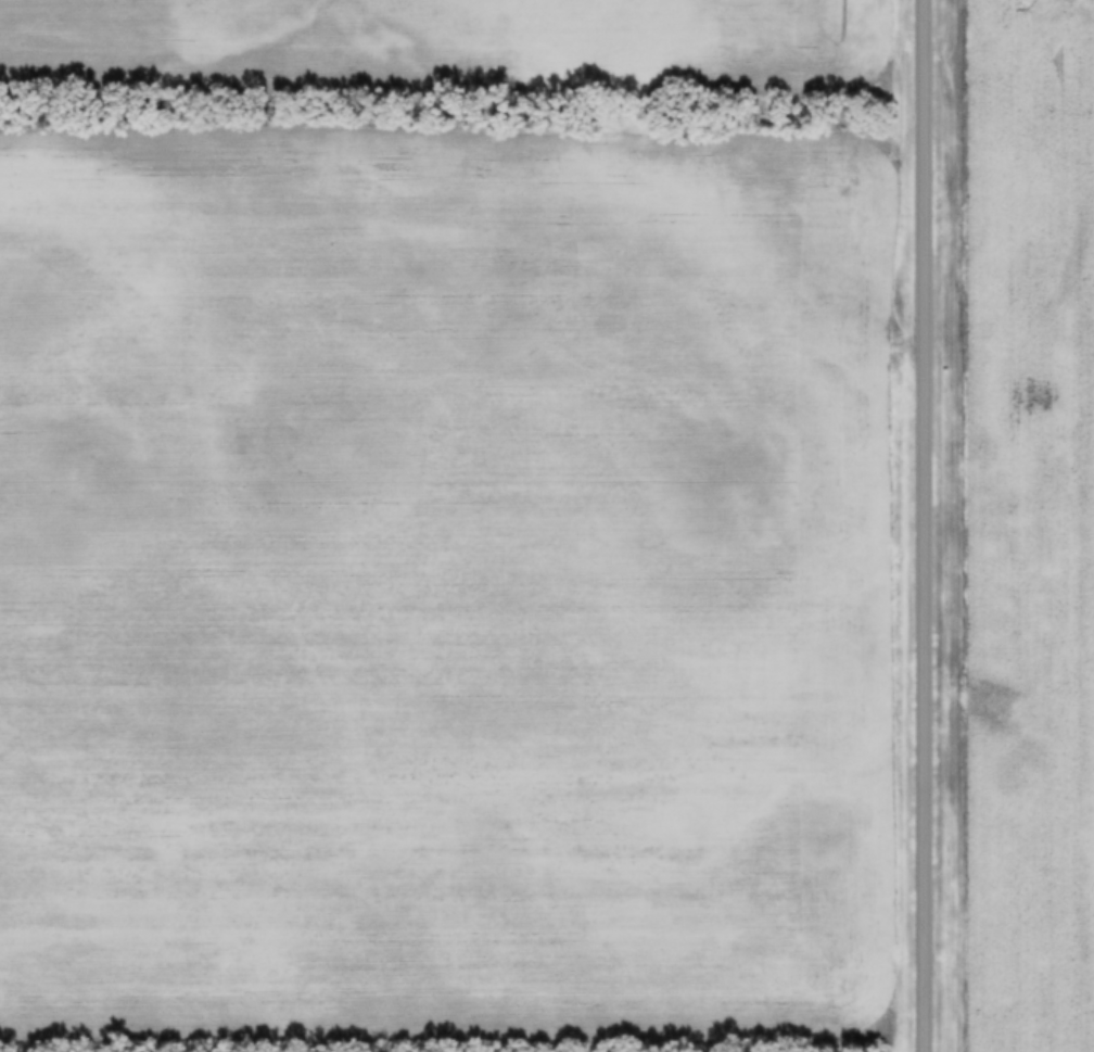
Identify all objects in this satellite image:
road: (931, 525)
crop: (1030, 525)

